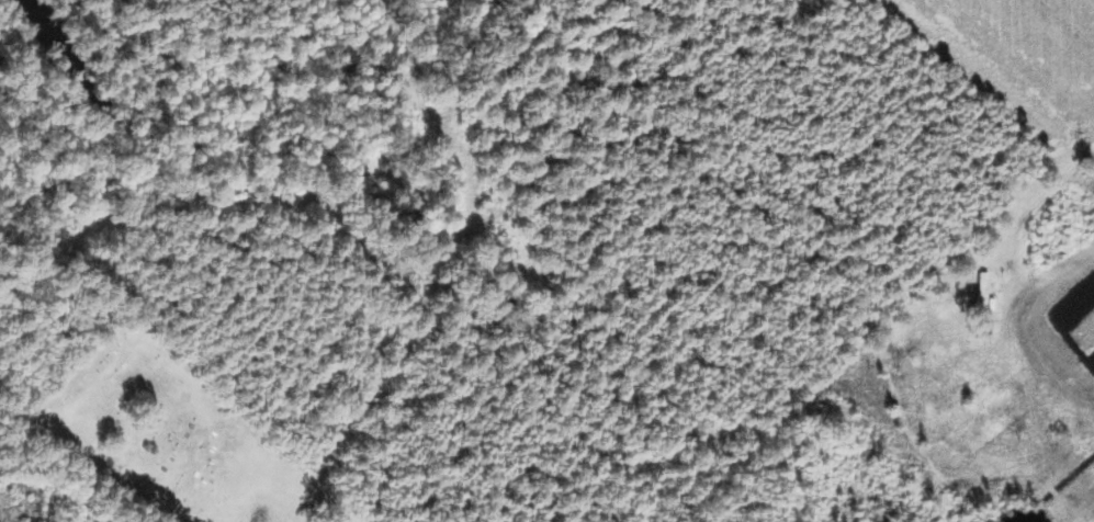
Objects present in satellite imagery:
road: (995, 90)
road: (677, 489)

